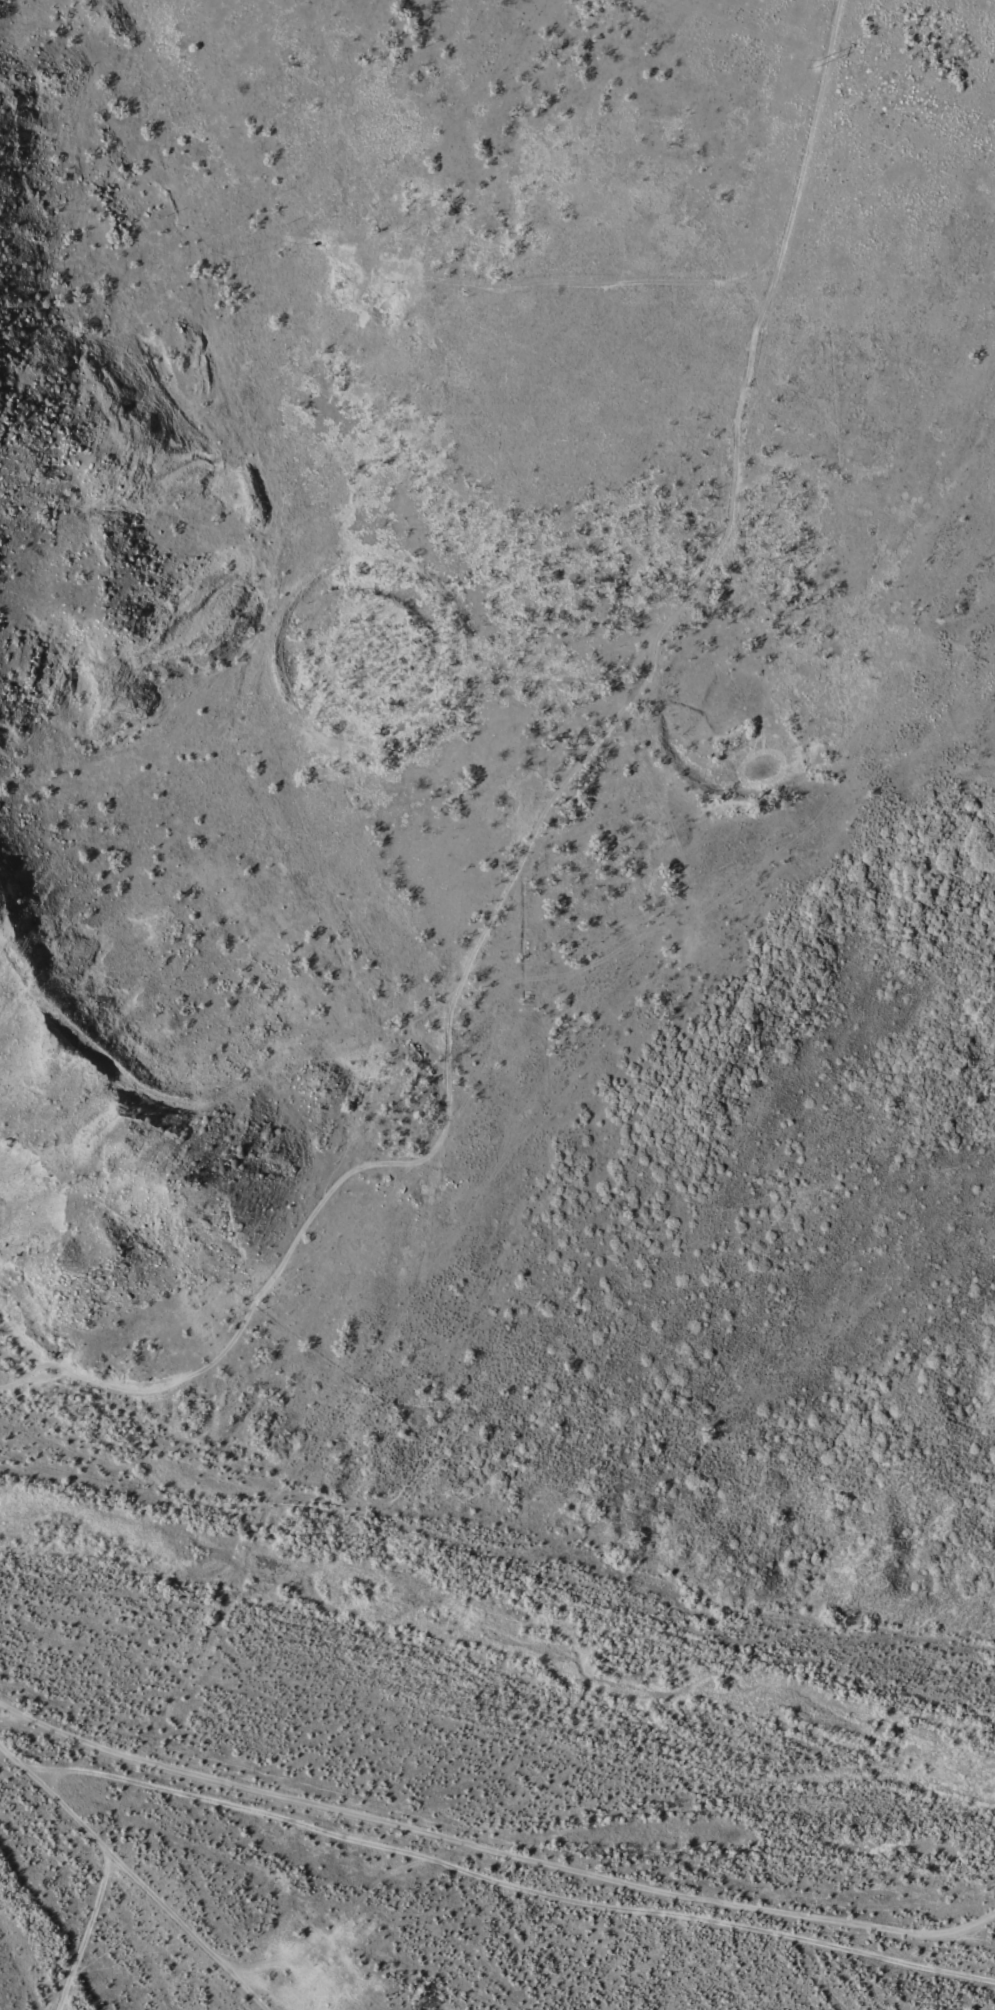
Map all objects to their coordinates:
power tower: (816, 63)
river: (503, 1646)

